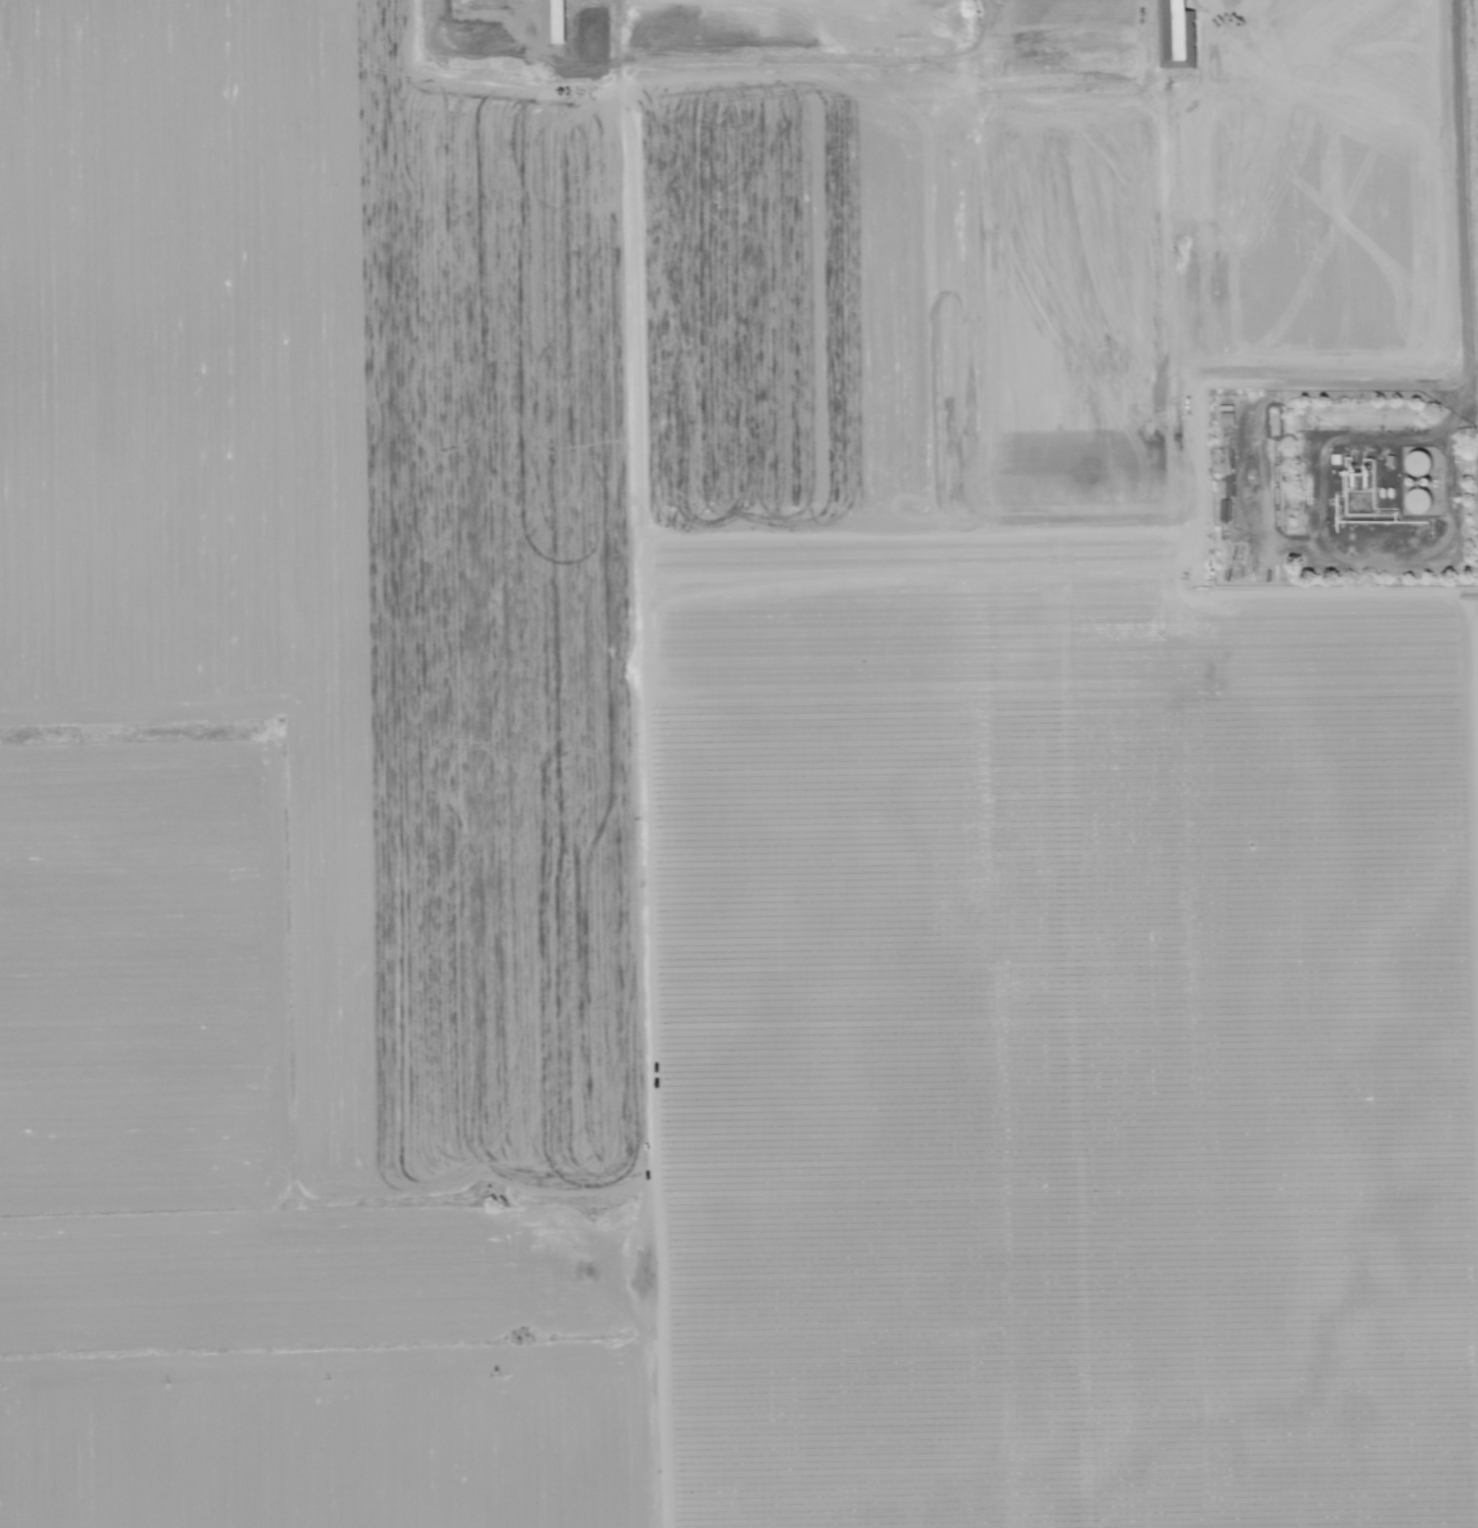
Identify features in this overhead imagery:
building: (553, 21)
road: (792, 61)
road: (1462, 325)

